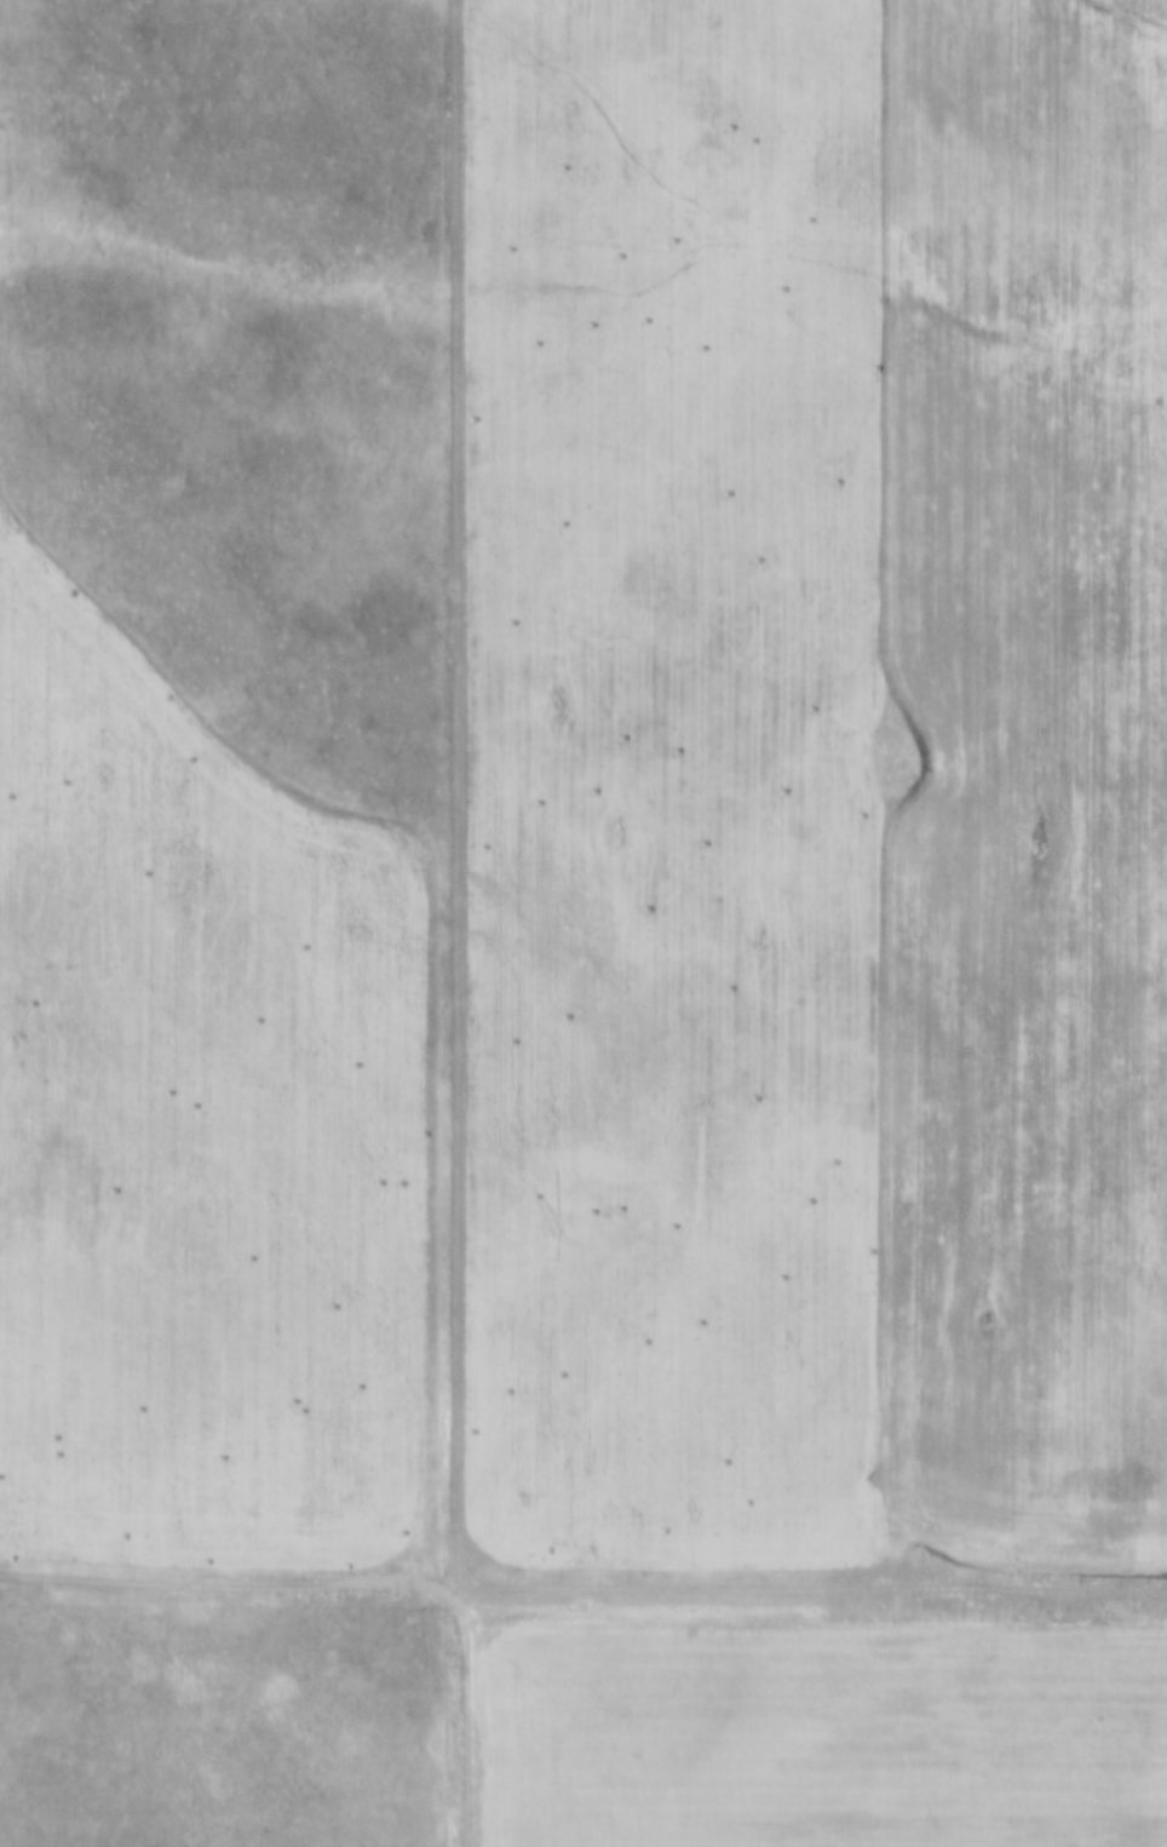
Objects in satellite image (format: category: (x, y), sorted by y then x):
road: (345, 1606)

